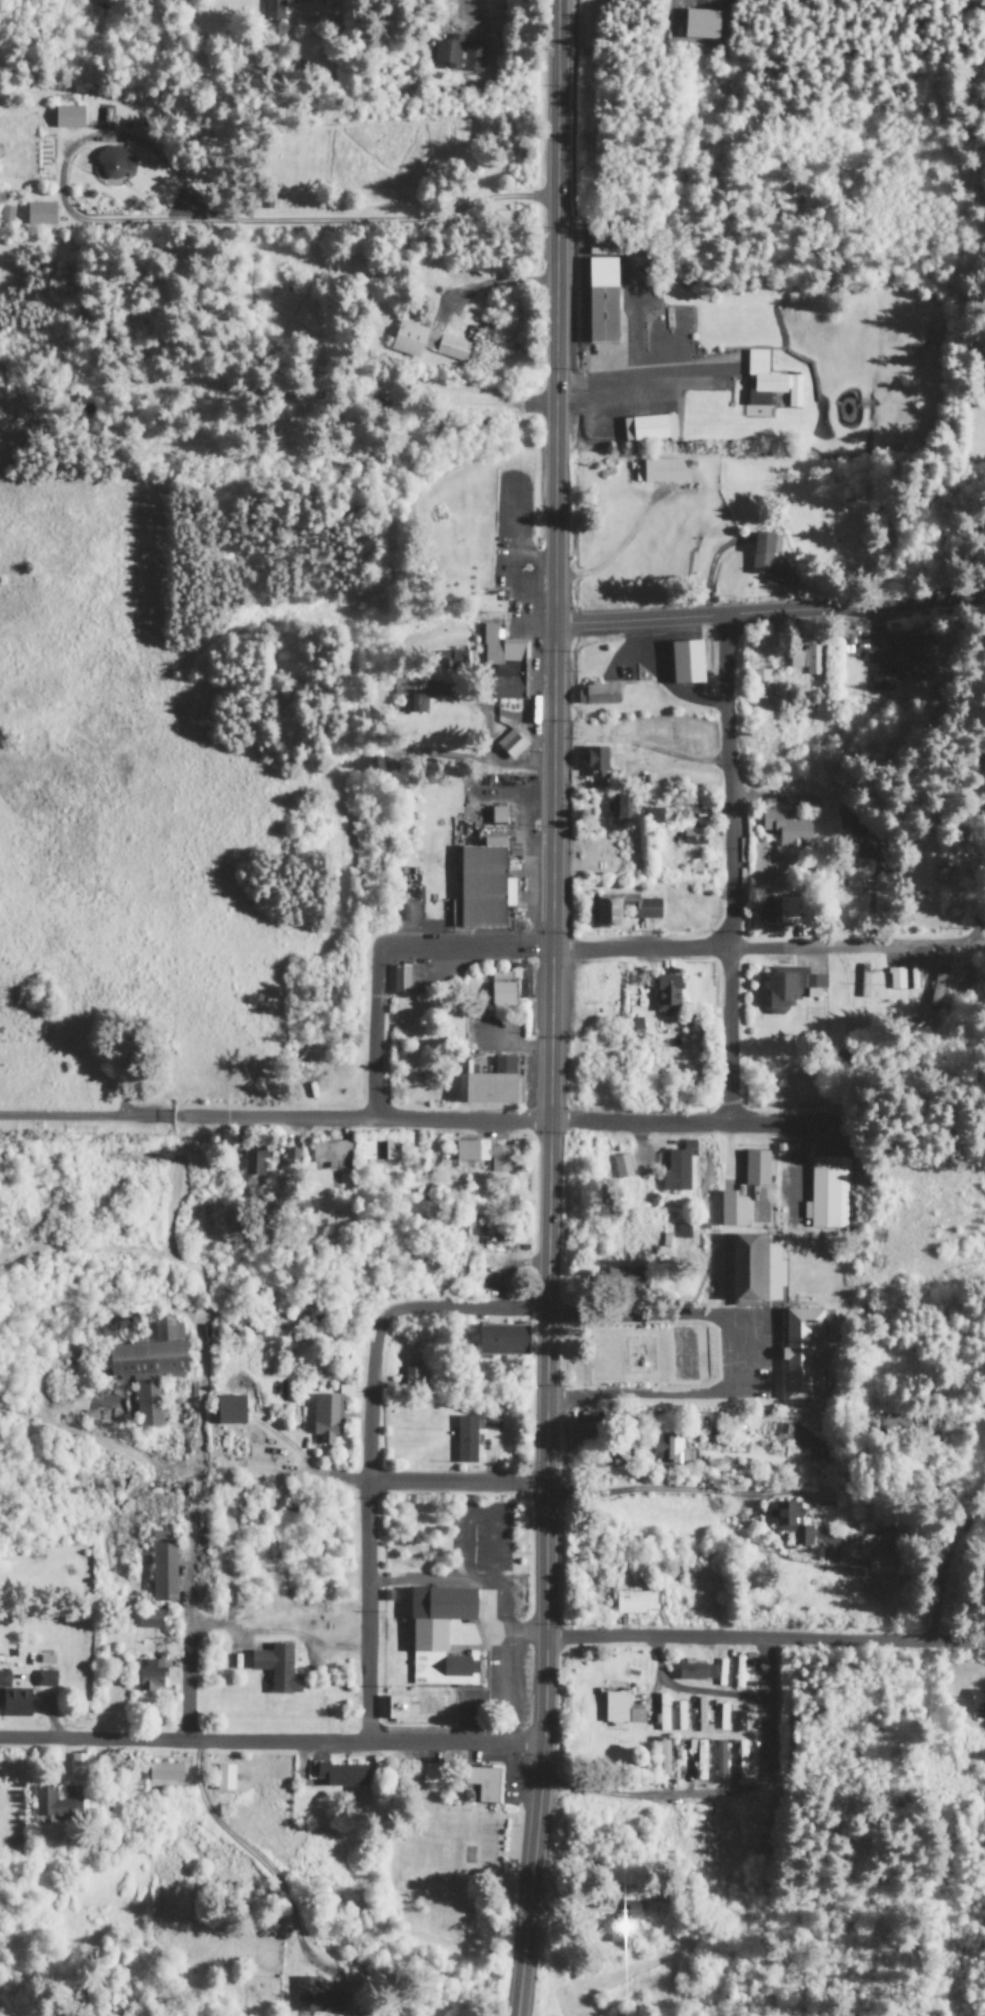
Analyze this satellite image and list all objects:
building: (272, 11)
building: (700, 25)
building: (458, 55)
road: (556, 103)
building: (67, 118)
building: (113, 166)
building: (5, 215)
building: (38, 215)
road: (186, 220)
building: (602, 302)
building: (426, 344)
road: (645, 380)
building: (769, 384)
building: (648, 430)
building: (662, 472)
parking lot: (511, 536)
building: (765, 560)
road: (769, 617)
building: (916, 650)
building: (806, 660)
building: (453, 661)
building: (685, 663)
building: (502, 666)
building: (885, 674)
building: (761, 685)
building: (410, 693)
building: (598, 695)
building: (510, 745)
building: (595, 760)
building: (618, 808)
building: (497, 816)
building: (654, 816)
building: (786, 830)
building: (693, 837)
building: (859, 841)
road: (732, 873)
building: (479, 887)
building: (779, 911)
building: (605, 913)
road: (984, 937)
road: (682, 956)
parking lot: (418, 976)
building: (895, 980)
building: (399, 981)
building: (505, 987)
building: (936, 989)
building: (790, 990)
building: (666, 994)
road: (380, 1034)
building: (502, 1067)
building: (484, 1086)
building: (806, 1097)
road: (550, 1111)
road: (430, 1122)
building: (378, 1153)
building: (330, 1155)
building: (482, 1155)
building: (291, 1158)
building: (253, 1161)
building: (621, 1167)
building: (677, 1169)
building: (755, 1169)
building: (827, 1194)
building: (731, 1211)
building: (662, 1247)
building: (750, 1270)
building: (625, 1277)
road: (470, 1312)
road: (653, 1316)
building: (500, 1341)
park: (682, 1355)
building: (801, 1355)
building: (149, 1369)
building: (412, 1377)
road: (688, 1396)
building: (228, 1411)
building: (325, 1419)
building: (490, 1422)
building: (580, 1433)
building: (465, 1441)
building: (665, 1449)
road: (456, 1484)
road: (731, 1494)
building: (825, 1502)
building: (788, 1523)
road: (367, 1526)
building: (876, 1557)
building: (161, 1569)
road: (428, 1584)
building: (633, 1603)
parking lot: (498, 1613)
building: (148, 1620)
road: (524, 1633)
road: (277, 1637)
building: (438, 1638)
road: (765, 1639)
road: (503, 1642)
building: (276, 1670)
building: (693, 1672)
building: (741, 1673)
building: (149, 1676)
building: (45, 1680)
road: (190, 1687)
road: (692, 1692)
building: (12, 1701)
building: (977, 1703)
building: (396, 1709)
building: (620, 1711)
road: (765, 1712)
building: (663, 1713)
building: (680, 1717)
building: (702, 1718)
building: (722, 1718)
building: (741, 1722)
road: (271, 1743)
building: (663, 1759)
building: (699, 1759)
building: (719, 1761)
building: (741, 1761)
building: (77, 1766)
building: (164, 1773)
building: (340, 1776)
building: (432, 1776)
building: (224, 1779)
building: (480, 1785)
road: (650, 1796)
building: (53, 1806)
road: (246, 1852)
building: (617, 1920)
building: (316, 1998)

